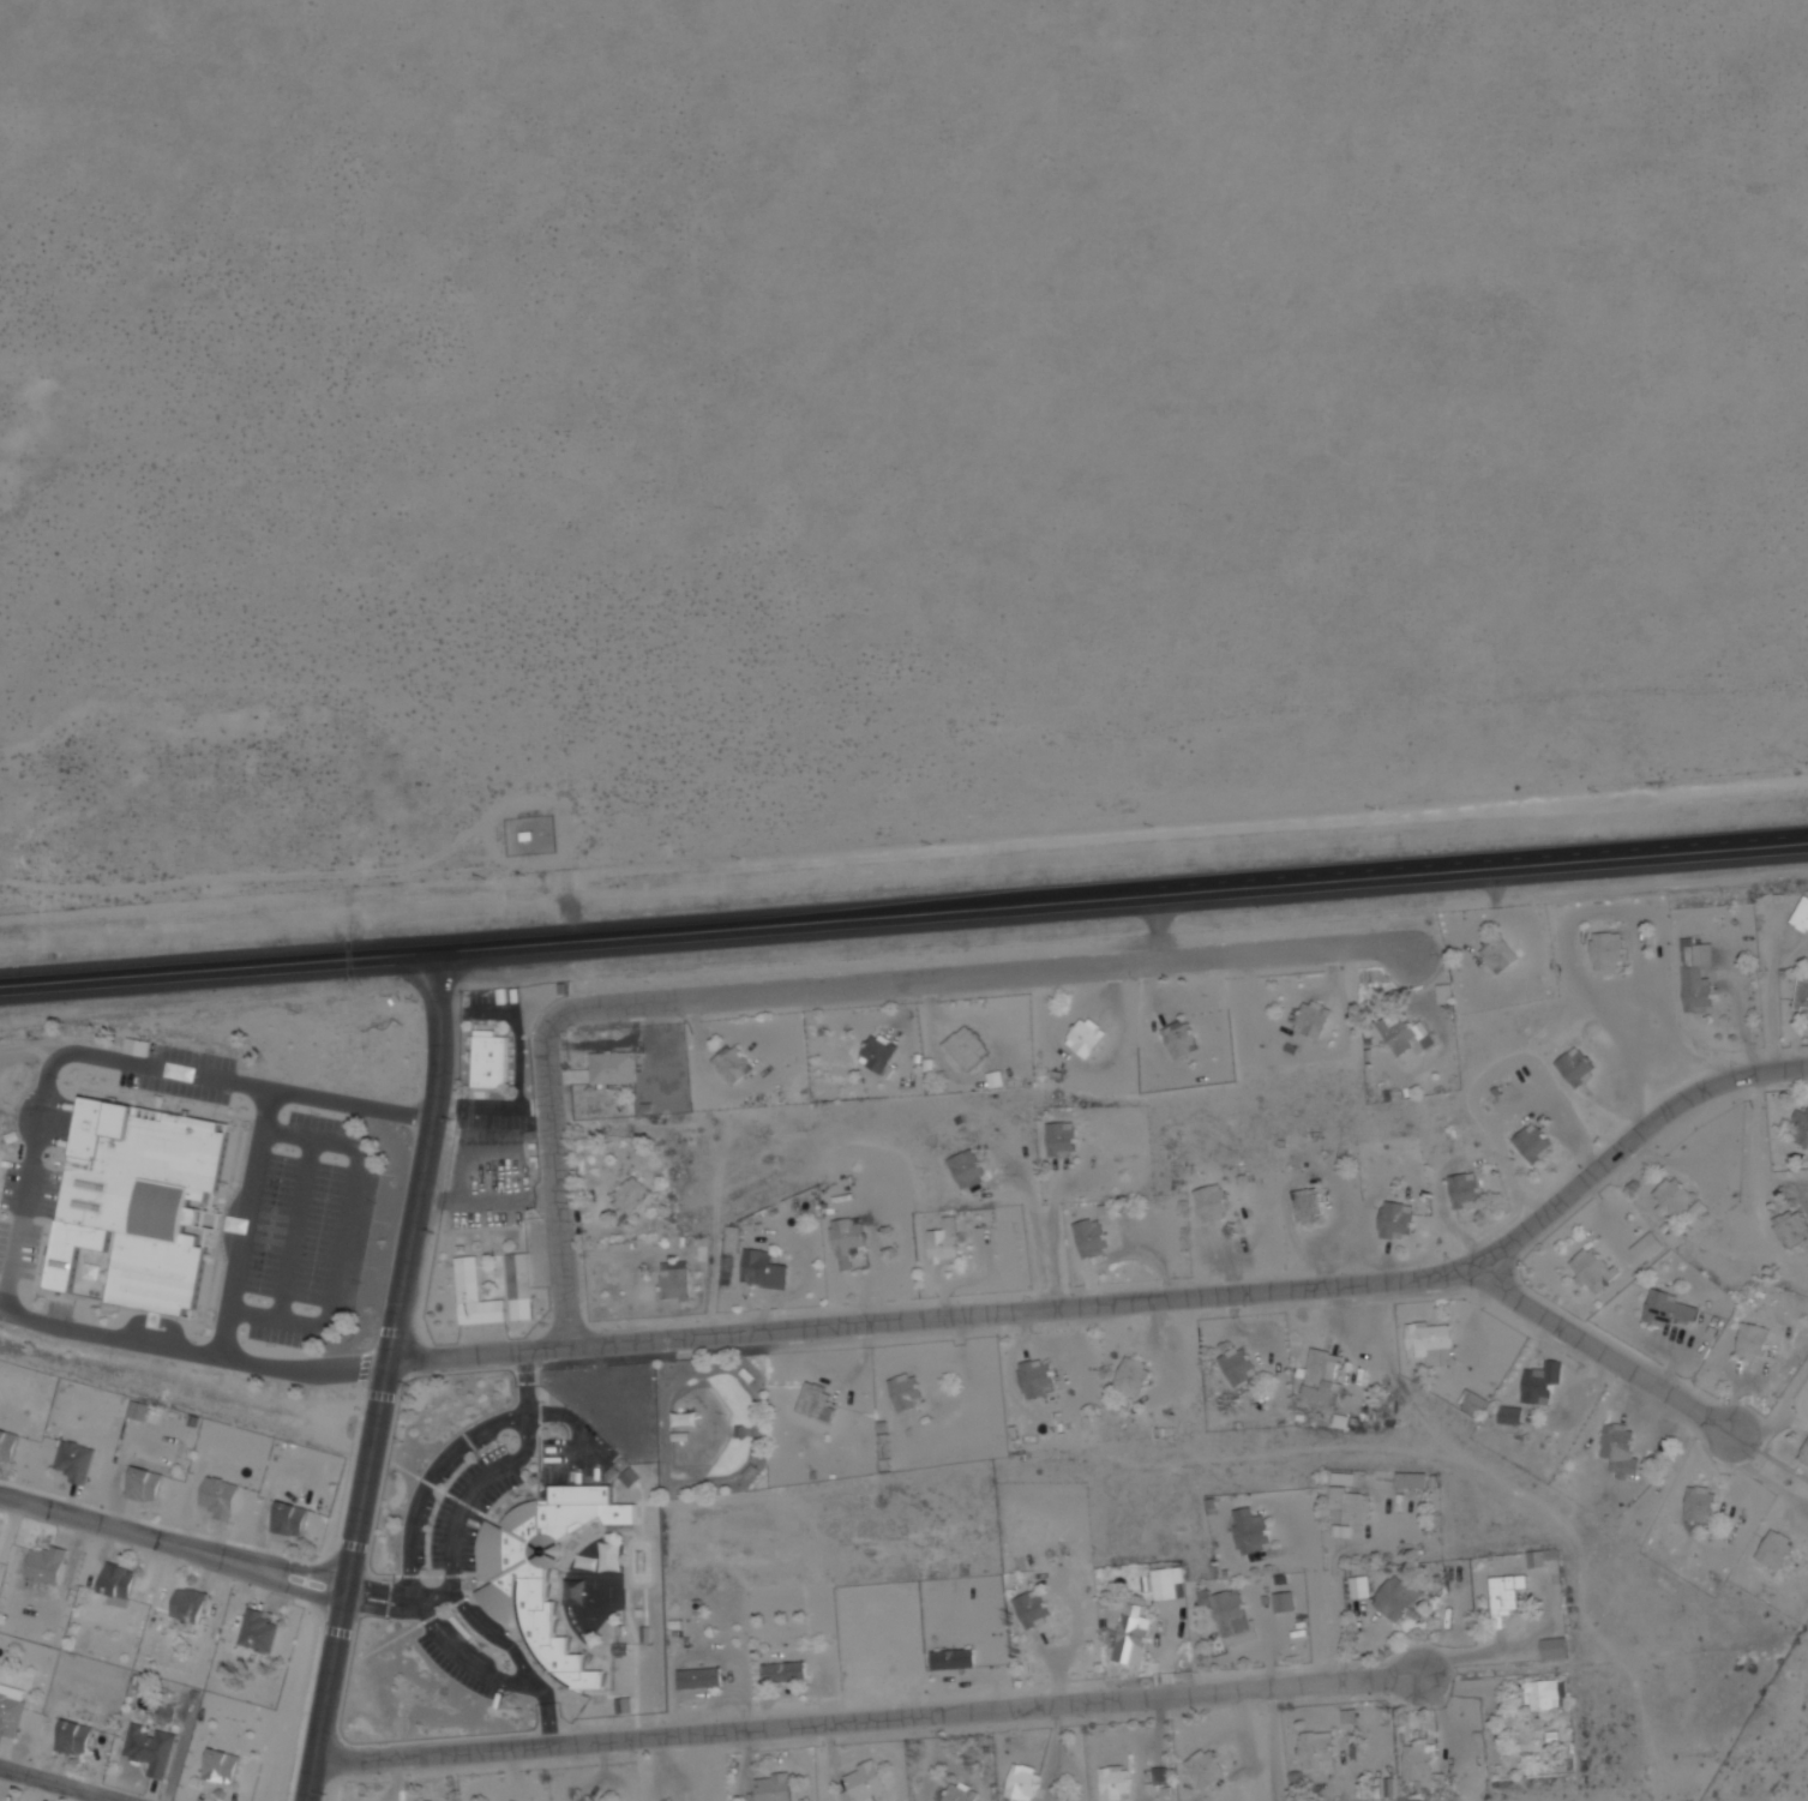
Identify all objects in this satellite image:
road: (903, 909)
building: (1801, 915)
building: (1606, 950)
building: (1500, 954)
building: (1695, 974)
road: (35, 985)
road: (815, 987)
building: (1801, 997)
building: (1316, 1017)
building: (1408, 1033)
building: (1088, 1035)
building: (1185, 1038)
building: (971, 1046)
building: (882, 1052)
building: (493, 1058)
building: (737, 1062)
building: (614, 1067)
building: (1575, 1067)
building: (1801, 1124)
building: (1065, 1139)
building: (1532, 1142)
building: (971, 1169)
road: (29, 1184)
building: (1462, 1190)
building: (632, 1196)
building: (1671, 1196)
building: (145, 1201)
building: (1215, 1202)
building: (1309, 1202)
building: (1394, 1221)
road: (246, 1223)
building: (1790, 1227)
road: (300, 1230)
road: (344, 1236)
building: (848, 1239)
building: (1094, 1239)
building: (947, 1242)
building: (1645, 1247)
building: (767, 1269)
building: (727, 1271)
building: (1592, 1272)
building: (678, 1283)
building: (523, 1286)
building: (480, 1295)
road: (1130, 1302)
building: (1665, 1309)
building: (1752, 1341)
building: (1430, 1343)
road: (1599, 1349)
building: (1242, 1363)
building: (750, 1375)
road: (384, 1376)
building: (1039, 1376)
building: (1136, 1376)
building: (1325, 1377)
road: (527, 1382)
building: (1540, 1383)
building: (908, 1391)
building: (818, 1399)
building: (1513, 1411)
road: (1778, 1411)
building: (691, 1418)
park: (716, 1424)
building: (744, 1431)
building: (686, 1436)
building: (8, 1443)
building: (1620, 1451)
building: (1803, 1458)
building: (78, 1460)
building: (753, 1470)
building: (1414, 1477)
building: (149, 1484)
road: (431, 1488)
building: (223, 1496)
building: (1699, 1503)
building: (1355, 1506)
road: (70, 1517)
building: (294, 1518)
building: (1255, 1532)
building: (1774, 1550)
road: (242, 1555)
building: (49, 1565)
building: (549, 1569)
road: (240, 1571)
building: (1169, 1583)
building: (120, 1584)
building: (1363, 1584)
road: (380, 1587)
building: (1285, 1598)
building: (1400, 1598)
building: (1504, 1598)
building: (193, 1604)
road: (376, 1608)
building: (1035, 1609)
building: (1231, 1610)
building: (260, 1631)
road: (1332, 1631)
building: (1136, 1633)
building: (1557, 1645)
building: (957, 1658)
building: (872, 1665)
building: (788, 1671)
road: (489, 1675)
building: (703, 1677)
building: (1544, 1694)
building: (12, 1709)
road: (866, 1719)
building: (77, 1737)
road: (1274, 1745)
building: (155, 1751)
building: (1320, 1751)
building: (226, 1766)
building: (1211, 1767)
building: (1424, 1769)
building: (866, 1782)
building: (1026, 1782)
road: (60, 1783)
building: (1119, 1783)
building: (776, 1788)
building: (963, 1793)
building: (426, 1800)
building: (597, 1800)

